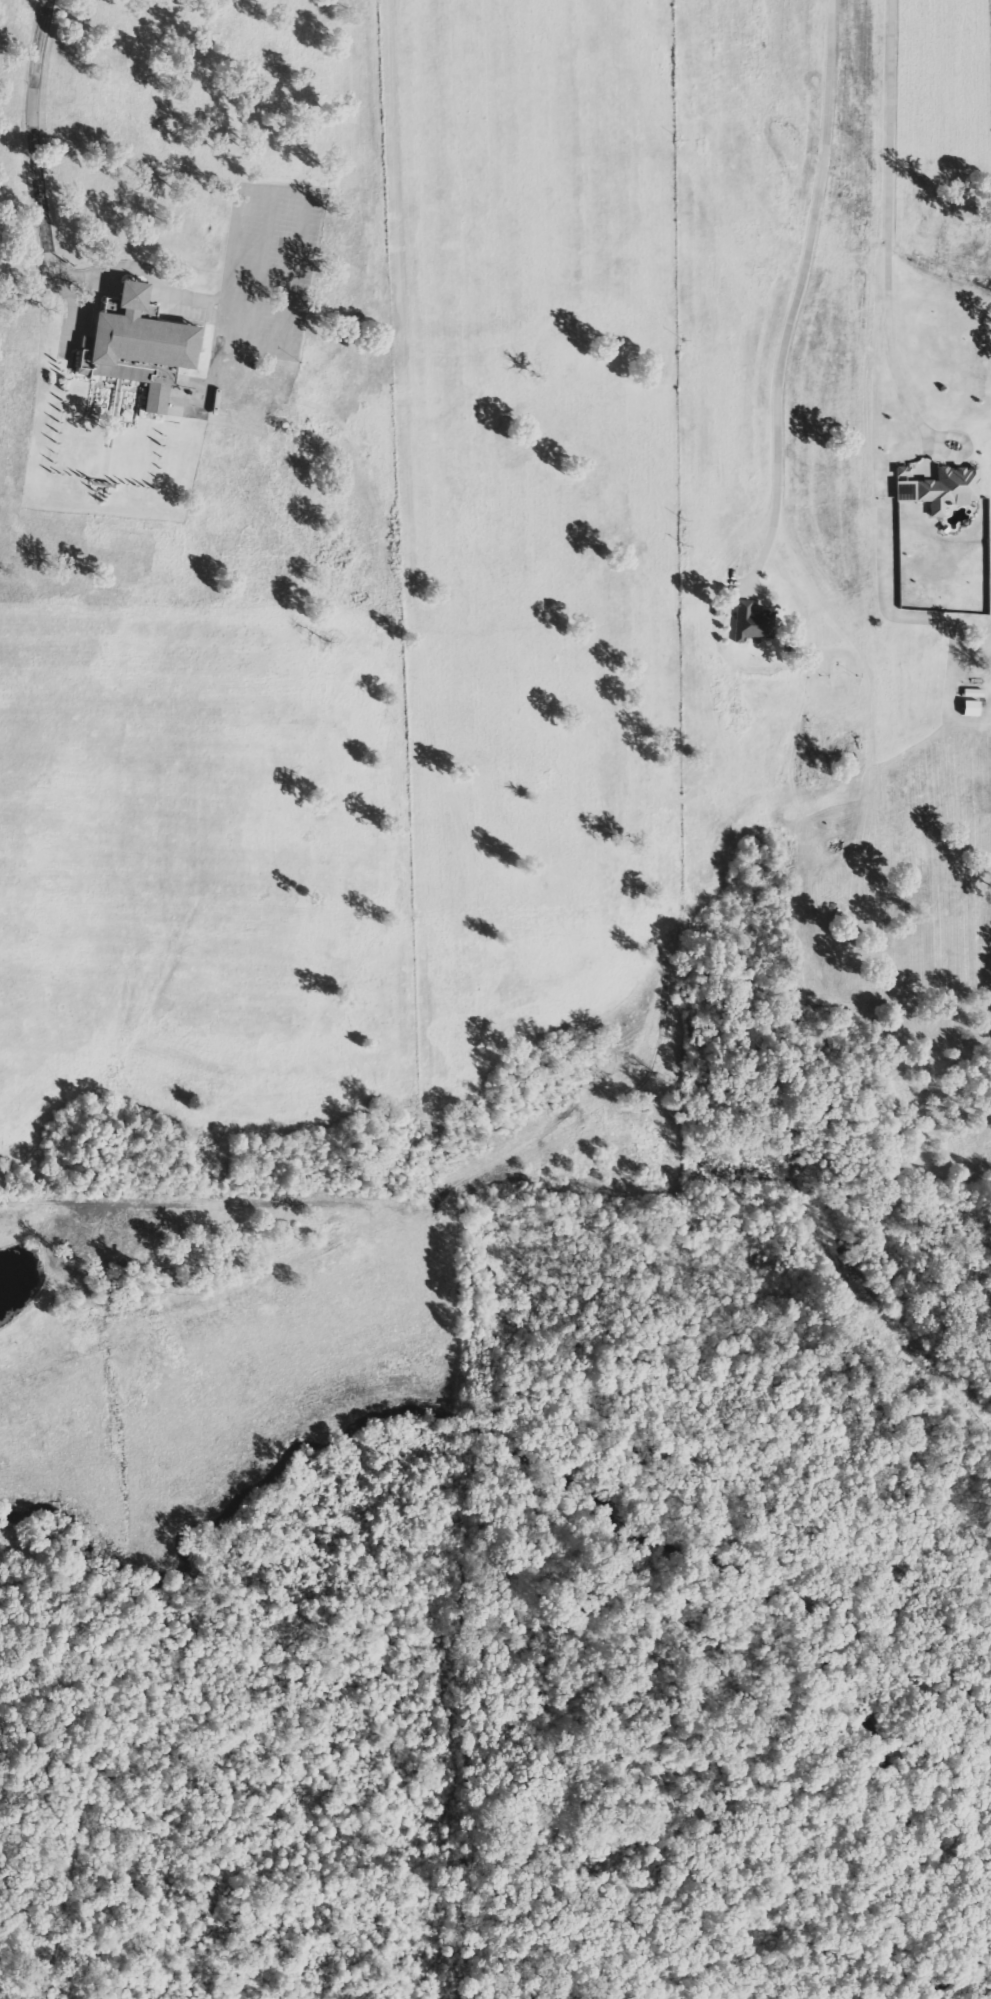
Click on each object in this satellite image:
road: (883, 221)
road: (44, 224)
road: (300, 233)
building: (142, 344)
road: (962, 448)
building: (939, 490)
building: (748, 622)

